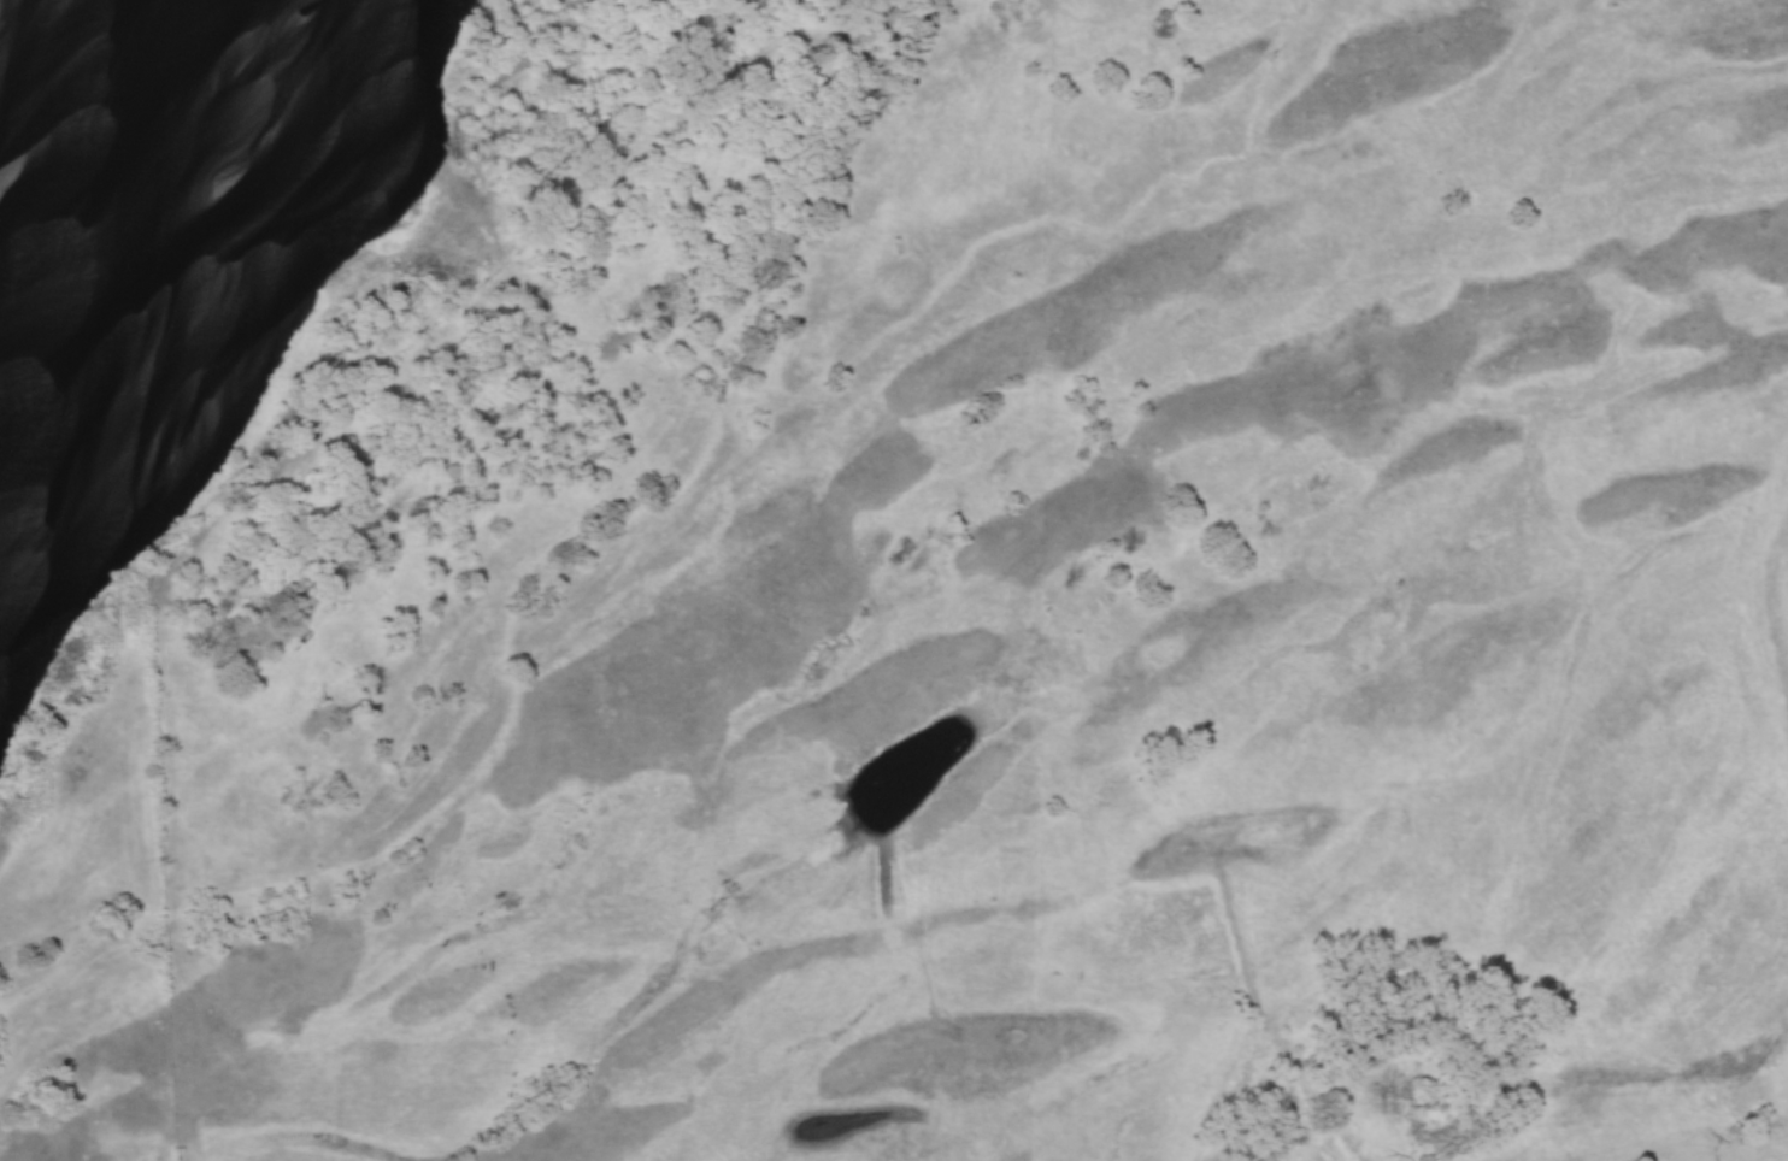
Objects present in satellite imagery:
river: (170, 260)

